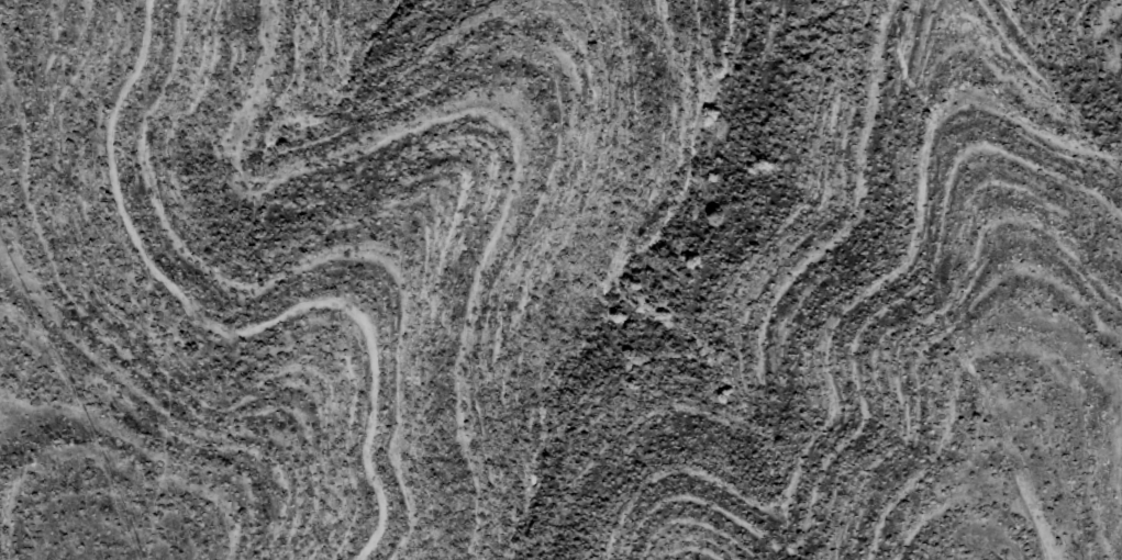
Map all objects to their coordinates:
road: (33, 460)

